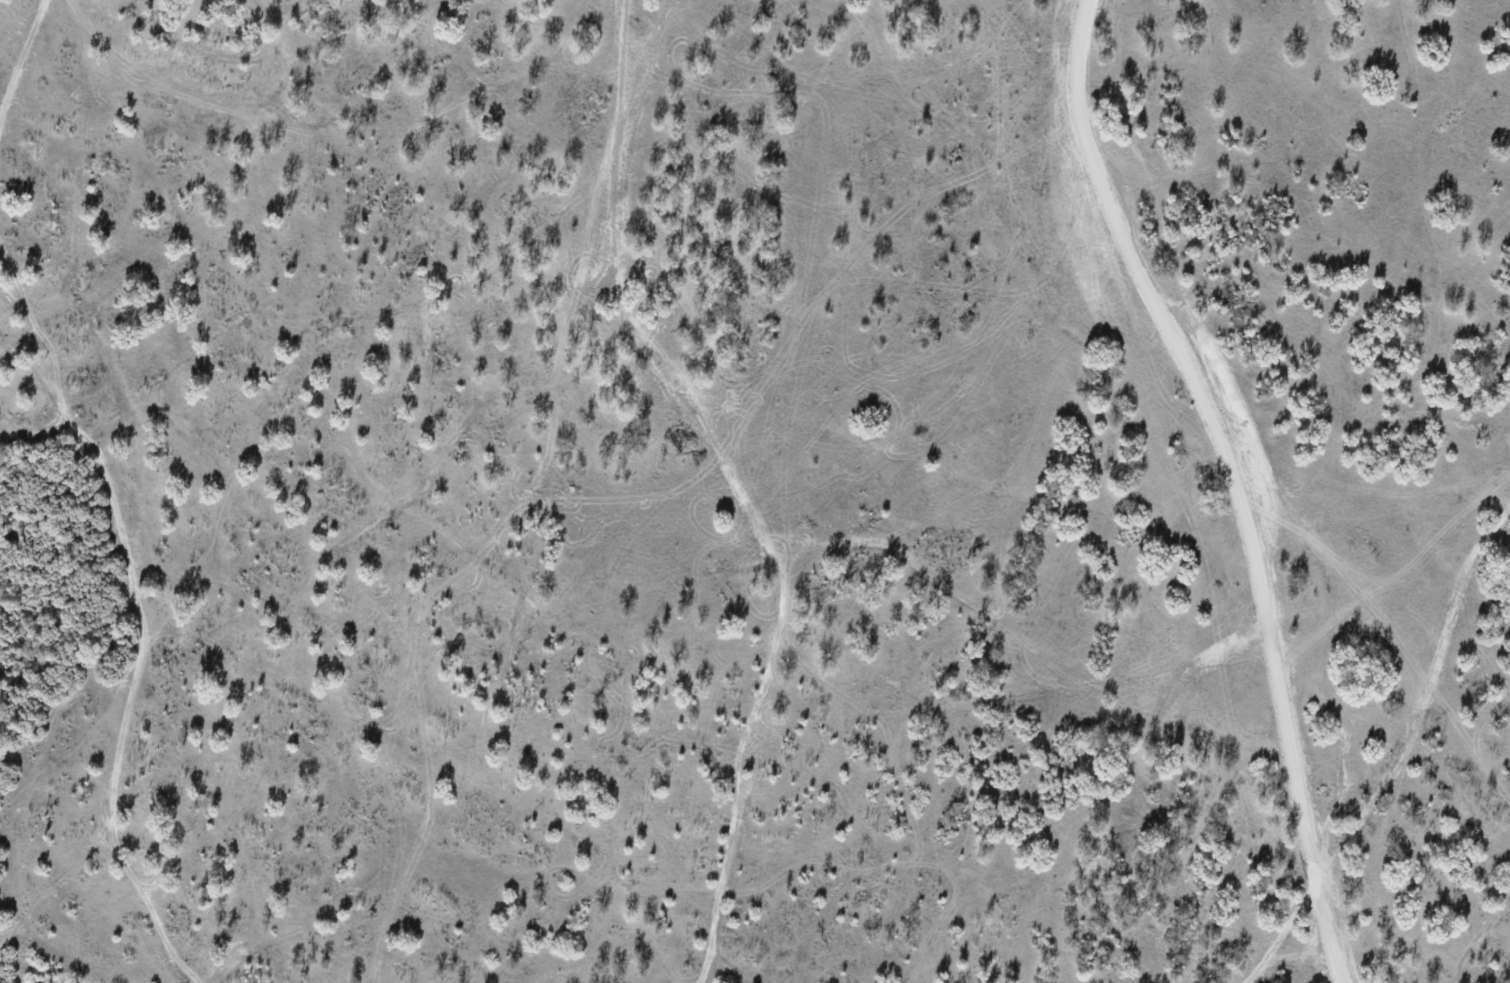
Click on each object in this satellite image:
road: (1239, 479)

